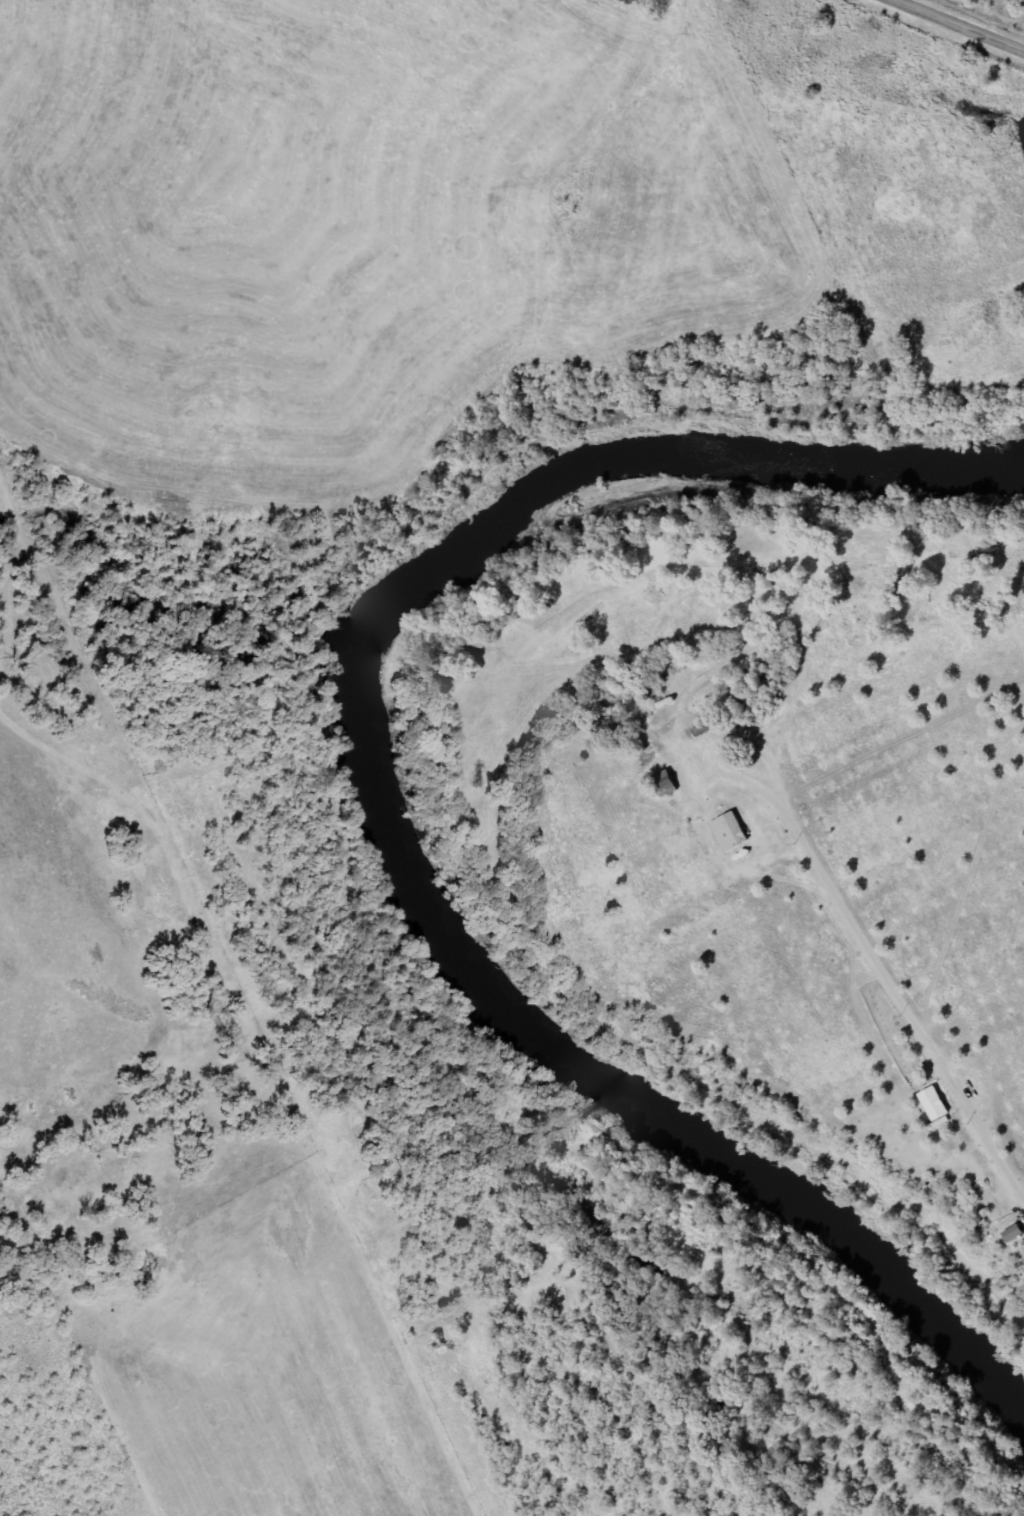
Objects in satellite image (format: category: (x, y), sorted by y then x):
road: (962, 24)
building: (664, 784)
river: (382, 820)
building: (728, 833)
building: (1012, 1235)

